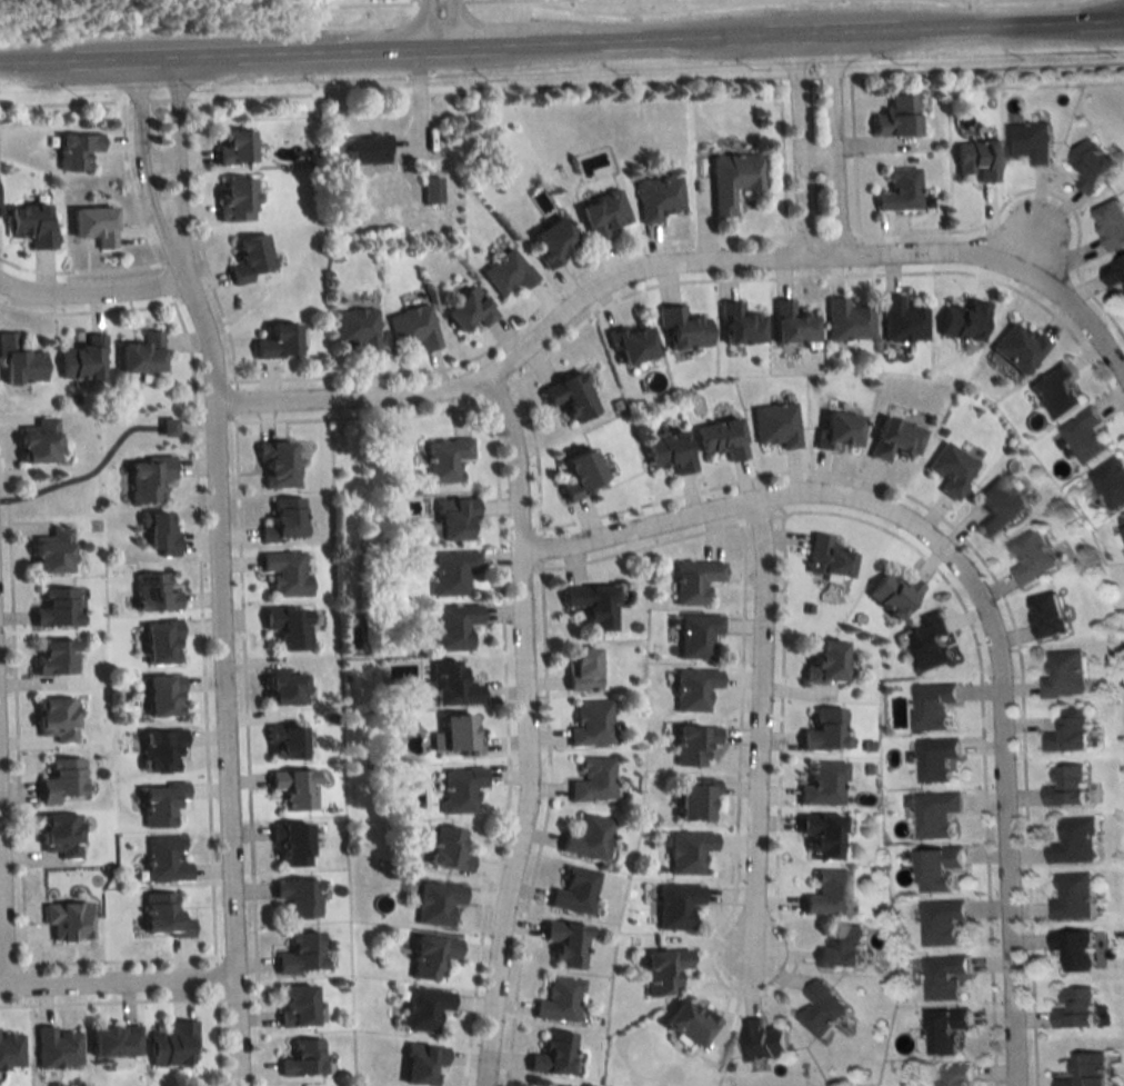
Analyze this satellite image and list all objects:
road: (407, 1)
road: (433, 27)
road: (562, 48)
building: (893, 116)
building: (1028, 141)
building: (237, 147)
road: (831, 148)
road: (801, 149)
building: (80, 150)
building: (369, 150)
road: (161, 155)
road: (816, 155)
building: (973, 159)
building: (1091, 165)
building: (730, 179)
building: (896, 190)
building: (655, 197)
building: (239, 199)
road: (163, 208)
building: (600, 213)
building: (33, 223)
building: (1111, 223)
building: (98, 225)
building: (548, 240)
building: (253, 258)
road: (678, 268)
building: (504, 271)
building: (1113, 272)
road: (92, 288)
building: (464, 309)
building: (845, 320)
building: (899, 320)
building: (962, 321)
building: (790, 323)
building: (737, 325)
building: (411, 328)
building: (354, 329)
building: (680, 329)
building: (272, 341)
building: (629, 342)
building: (1017, 348)
building: (144, 353)
building: (84, 360)
building: (21, 361)
building: (1053, 391)
building: (566, 396)
building: (774, 425)
building: (835, 430)
building: (1083, 435)
building: (717, 438)
building: (892, 439)
building: (42, 442)
building: (666, 452)
building: (443, 459)
building: (275, 467)
building: (950, 469)
building: (575, 474)
building: (143, 477)
building: (1110, 481)
building: (997, 506)
building: (450, 517)
building: (282, 521)
building: (1122, 521)
building: (155, 534)
building: (57, 552)
building: (824, 558)
building: (1031, 558)
building: (283, 572)
building: (450, 572)
building: (691, 579)
building: (151, 591)
building: (890, 594)
road: (969, 594)
building: (588, 605)
building: (60, 607)
building: (1046, 616)
building: (451, 626)
building: (285, 628)
building: (695, 635)
building: (158, 640)
building: (927, 642)
road: (227, 644)
building: (58, 657)
building: (821, 662)
building: (578, 668)
building: (1062, 675)
building: (448, 685)
building: (280, 688)
building: (691, 689)
building: (160, 696)
building: (931, 705)
building: (60, 719)
building: (588, 724)
building: (822, 730)
road: (521, 731)
building: (1067, 731)
building: (455, 735)
road: (752, 741)
building: (281, 743)
building: (691, 744)
building: (158, 751)
building: (934, 759)
building: (64, 780)
building: (591, 780)
building: (822, 785)
building: (1064, 785)
building: (290, 788)
building: (458, 788)
building: (691, 800)
building: (158, 804)
building: (934, 814)
building: (63, 835)
building: (820, 835)
building: (584, 837)
building: (1073, 841)
building: (288, 844)
building: (445, 849)
building: (686, 850)
building: (162, 860)
building: (935, 868)
building: (572, 890)
building: (826, 893)
road: (3, 894)
building: (294, 896)
building: (1071, 897)
building: (433, 901)
building: (674, 905)
building: (159, 916)
building: (70, 921)
building: (940, 921)
building: (563, 941)
building: (840, 947)
building: (1073, 949)
building: (297, 954)
building: (428, 955)
building: (659, 970)
building: (942, 977)
road: (120, 979)
building: (556, 999)
building: (292, 1005)
building: (422, 1008)
building: (1074, 1008)
building: (819, 1009)
building: (686, 1023)
building: (943, 1029)
building: (761, 1040)
building: (110, 1042)
building: (170, 1044)
building: (56, 1048)
building: (11, 1050)
building: (550, 1055)
building: (300, 1058)
building: (419, 1063)
building: (1085, 1070)
building: (953, 1075)
building: (538, 1085)

